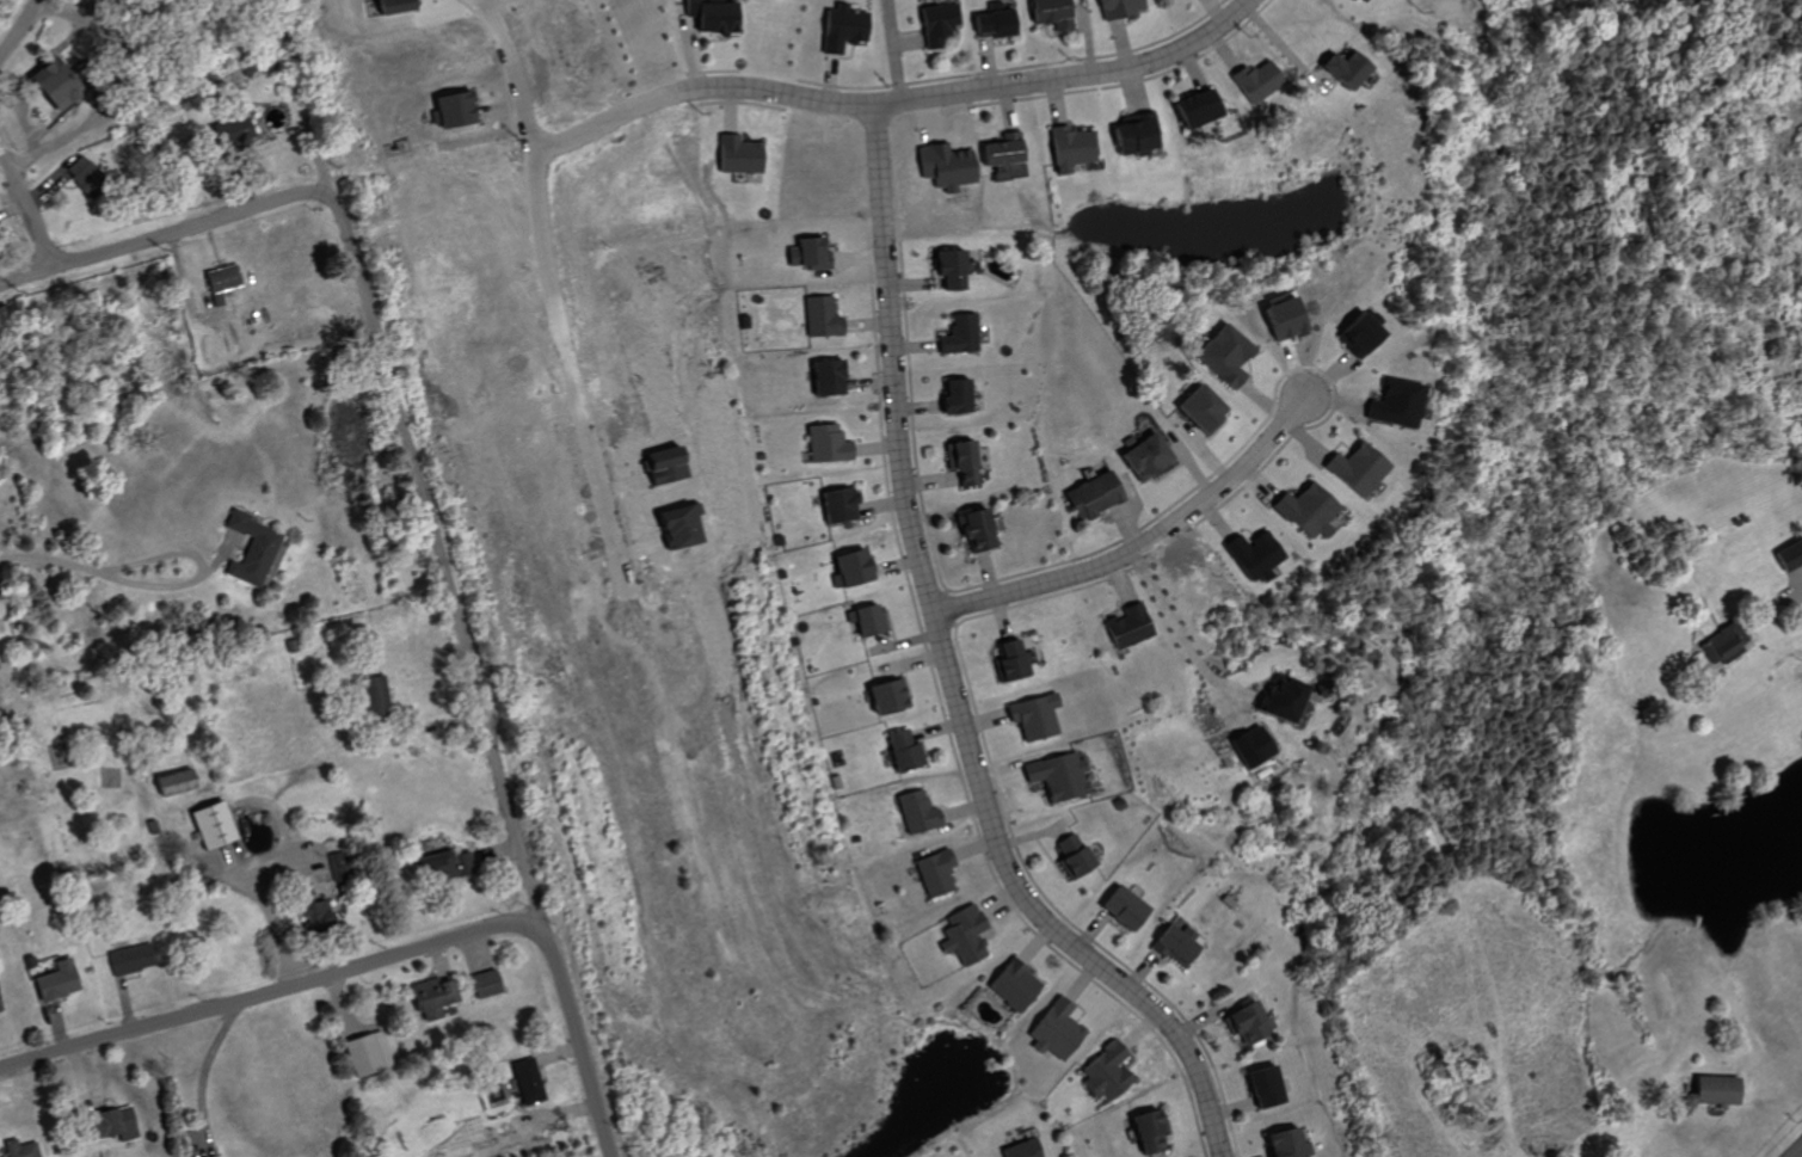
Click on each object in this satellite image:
building: (1343, 0)
building: (388, 5)
building: (1115, 8)
building: (1050, 13)
building: (711, 16)
building: (989, 23)
building: (935, 24)
building: (840, 27)
road: (17, 30)
road: (897, 50)
building: (1336, 68)
road: (513, 73)
building: (1253, 80)
road: (976, 88)
building: (1189, 107)
building: (445, 109)
road: (611, 116)
building: (222, 133)
building: (1130, 134)
building: (1069, 147)
building: (1001, 152)
building: (737, 155)
building: (943, 165)
road: (27, 205)
building: (805, 254)
building: (946, 267)
building: (219, 278)
building: (1278, 316)
building: (824, 319)
building: (1351, 331)
building: (957, 336)
building: (1222, 355)
building: (820, 377)
road: (389, 393)
building: (953, 395)
building: (1391, 402)
building: (1195, 407)
building: (823, 444)
building: (1143, 456)
building: (960, 461)
building: (1352, 468)
building: (1091, 496)
building: (836, 504)
building: (1305, 509)
building: (974, 528)
road: (1149, 543)
building: (247, 549)
building: (1250, 554)
building: (1785, 554)
road: (48, 555)
road: (201, 565)
building: (848, 568)
road: (632, 576)
building: (866, 621)
road: (1181, 624)
building: (1127, 626)
building: (1714, 644)
building: (1009, 660)
road: (957, 671)
building: (373, 696)
building: (882, 696)
building: (1278, 698)
building: (1033, 716)
building: (1250, 744)
building: (902, 750)
building: (1057, 776)
building: (172, 782)
building: (916, 812)
building: (210, 824)
building: (1071, 856)
building: (437, 864)
building: (935, 872)
building: (1115, 907)
building: (310, 915)
road: (277, 928)
building: (961, 935)
building: (1173, 943)
building: (127, 960)
building: (54, 981)
building: (484, 984)
building: (1010, 986)
road: (270, 990)
building: (428, 998)
building: (0, 1009)
building: (1052, 1030)
road: (579, 1036)
building: (364, 1053)
road: (209, 1059)
building: (1101, 1072)
building: (527, 1082)
building: (1259, 1087)
building: (1712, 1091)
building: (106, 1125)
building: (1144, 1131)
building: (1281, 1144)
building: (20, 1149)
road: (1794, 1149)
building: (1017, 1150)

